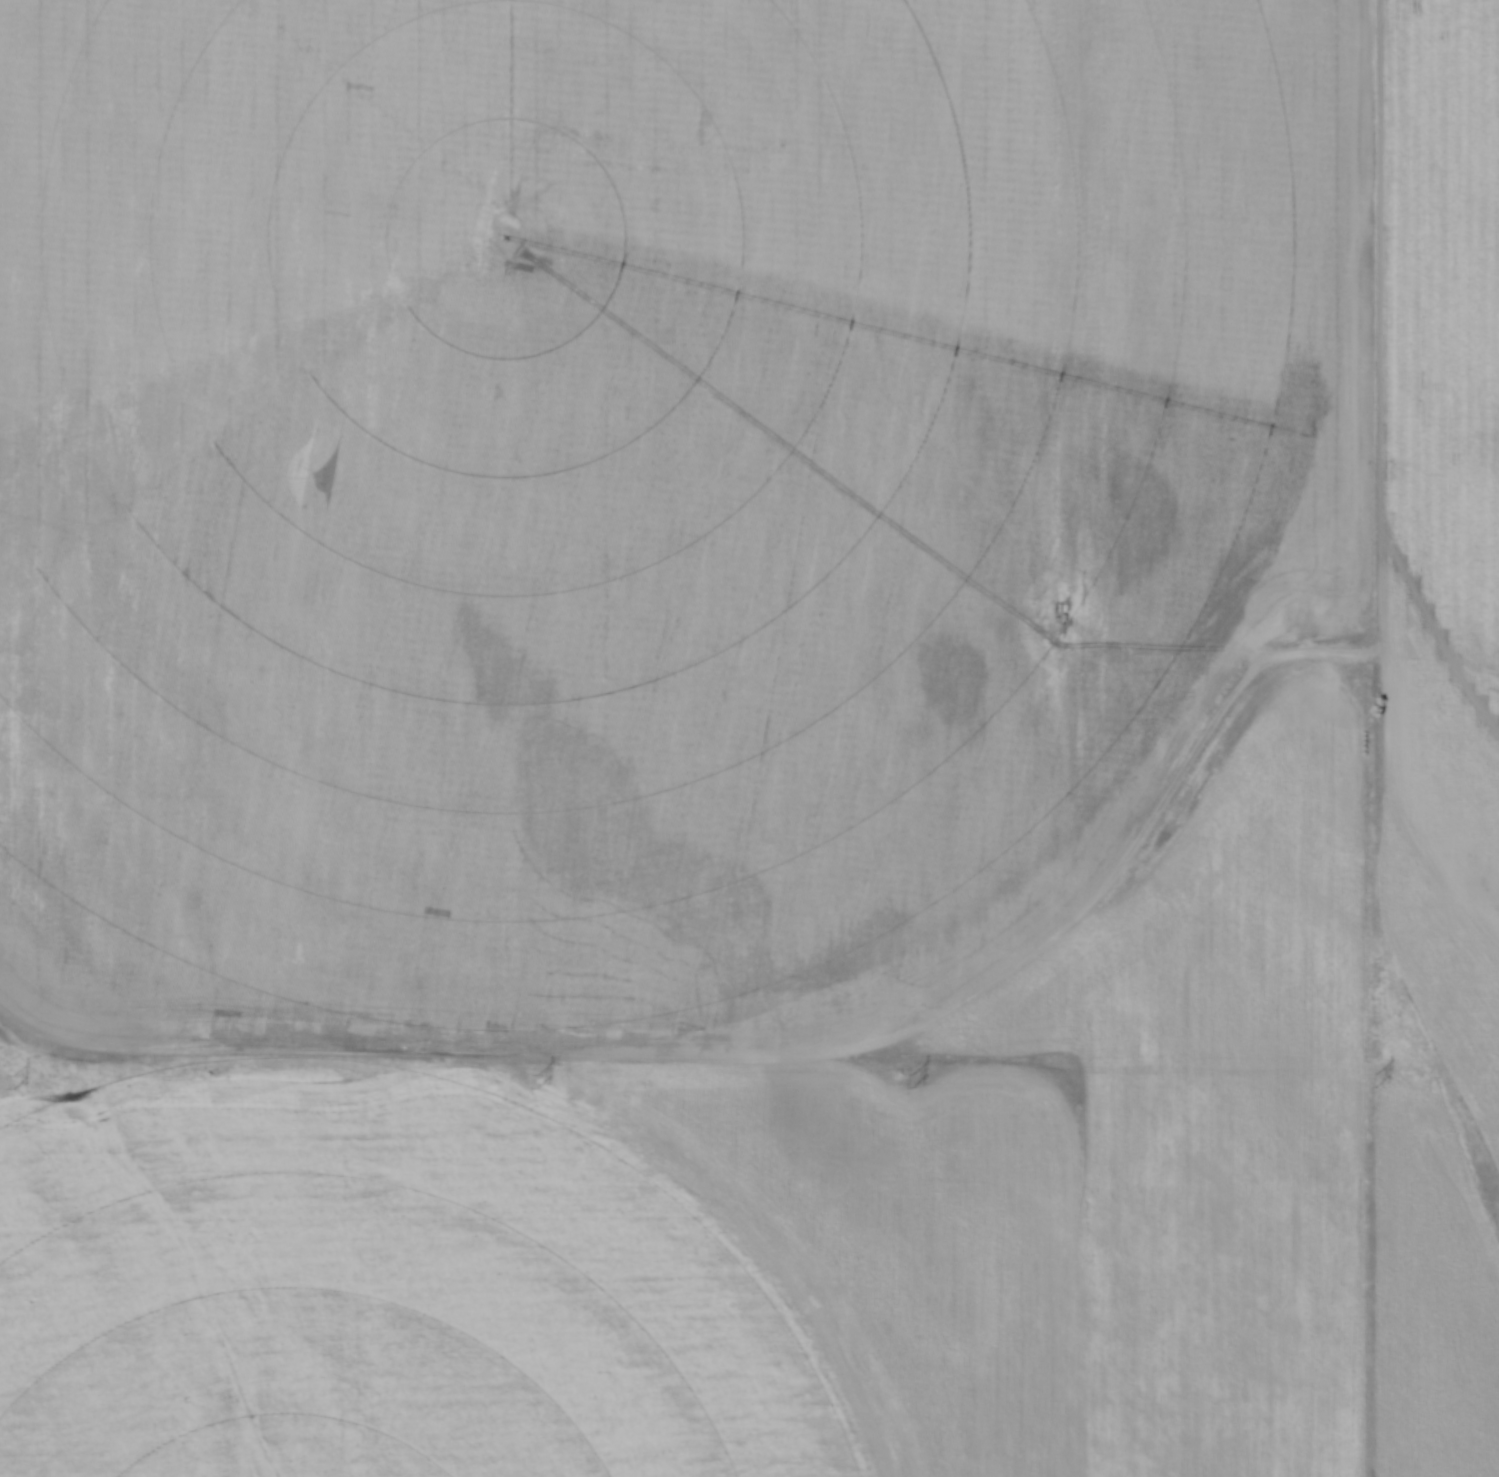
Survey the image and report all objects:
power tower: (15, 1078)
power tower: (540, 1078)
power tower: (913, 1079)
power tower: (1377, 1079)

